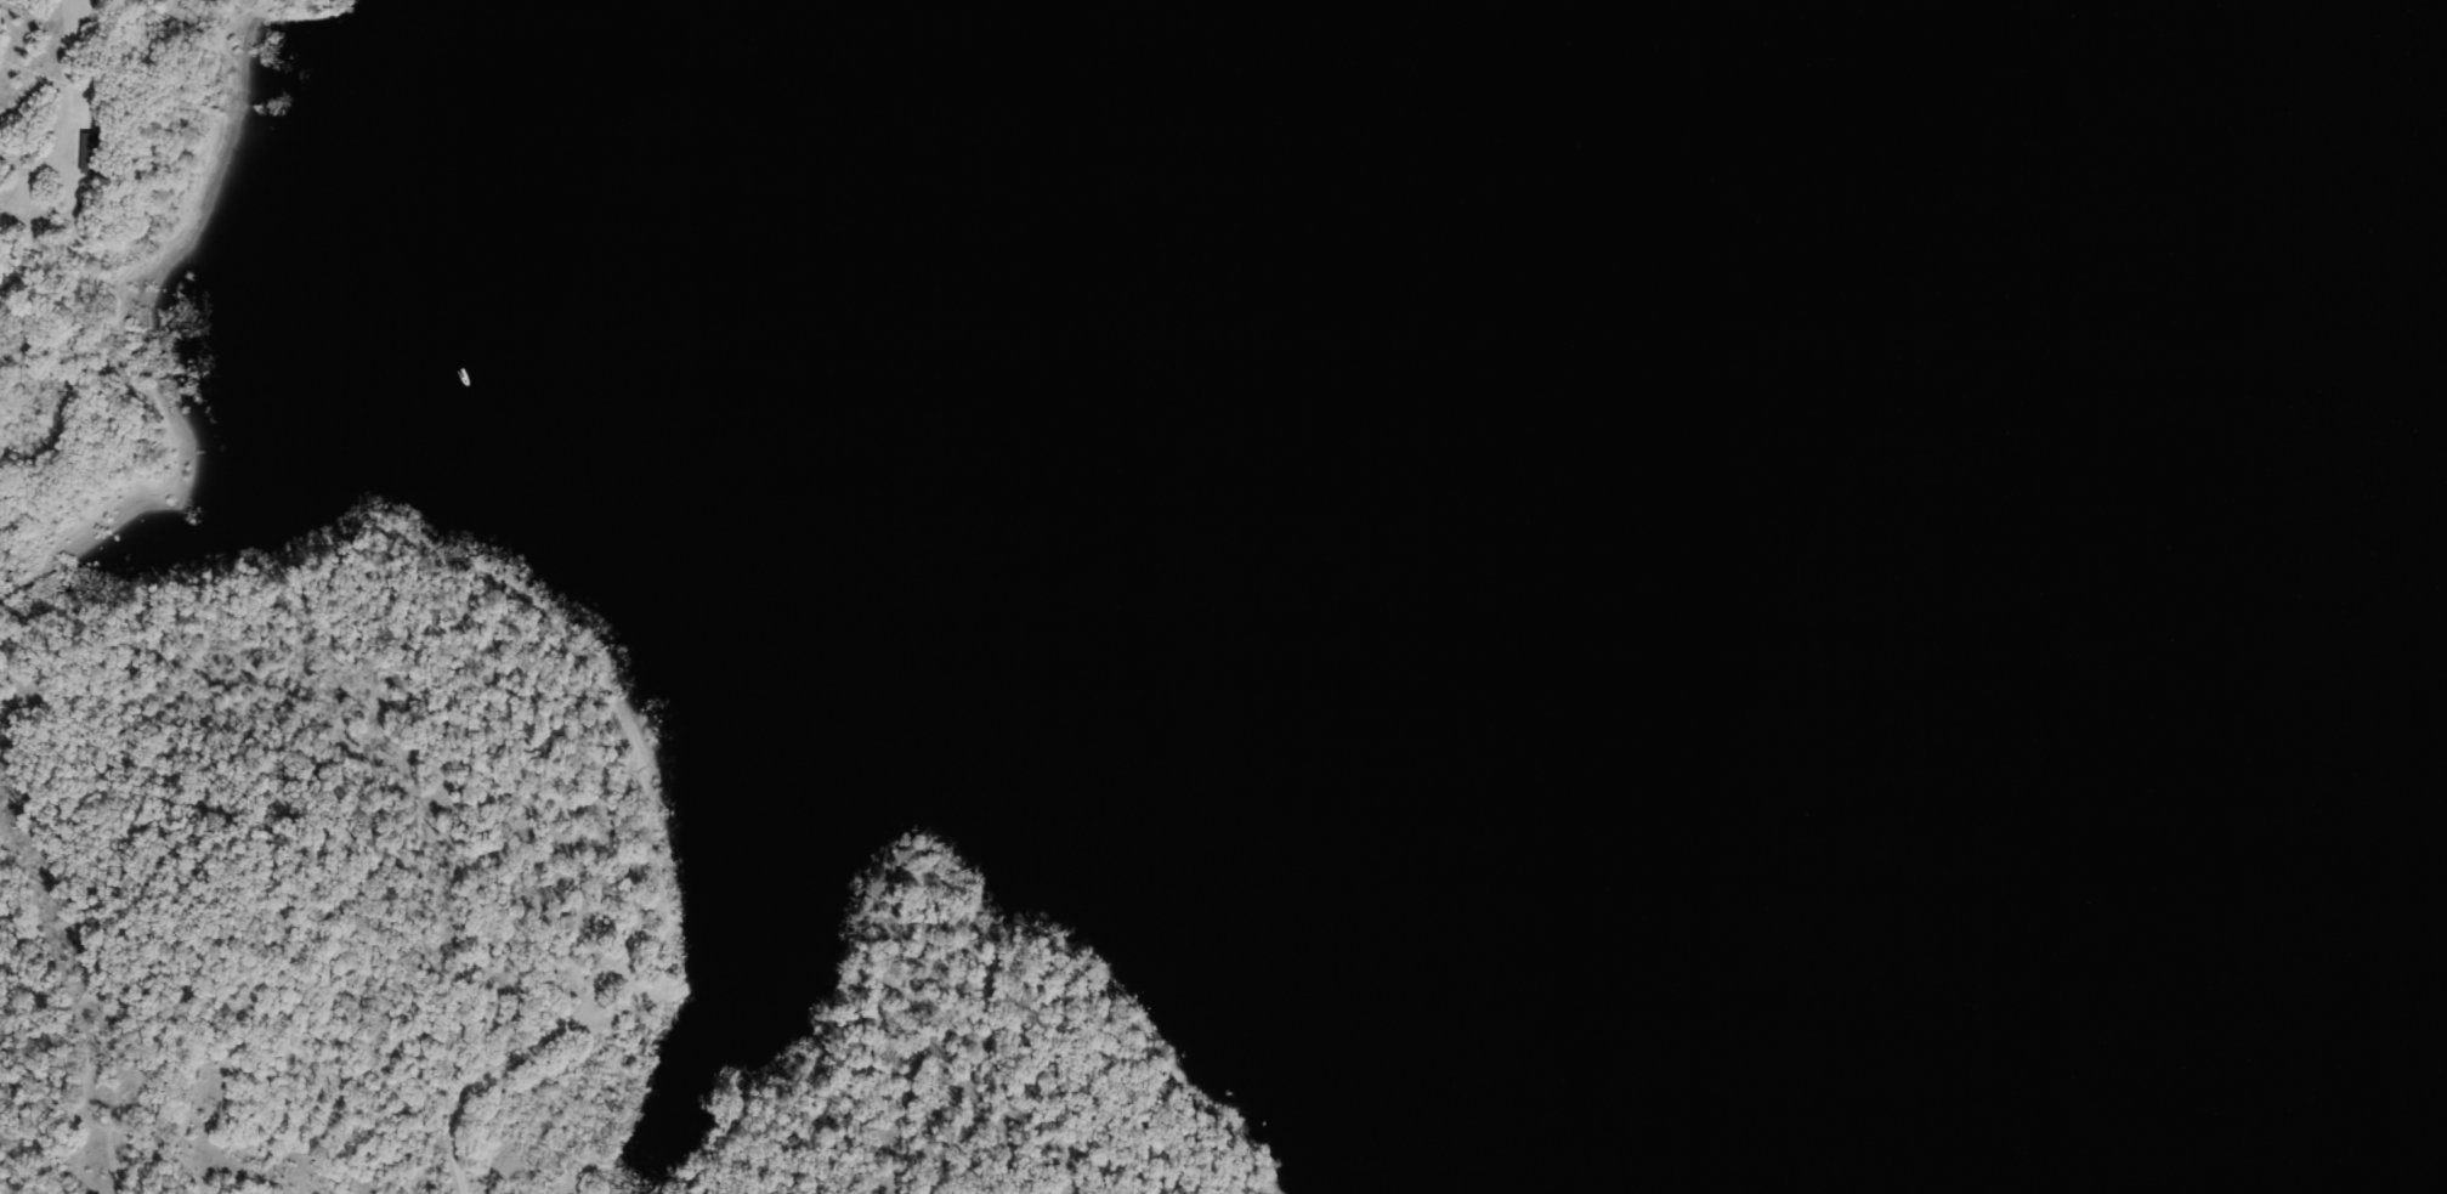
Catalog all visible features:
building: (89, 152)
park: (549, 720)
road: (630, 975)
road: (482, 1087)
road: (111, 1165)

